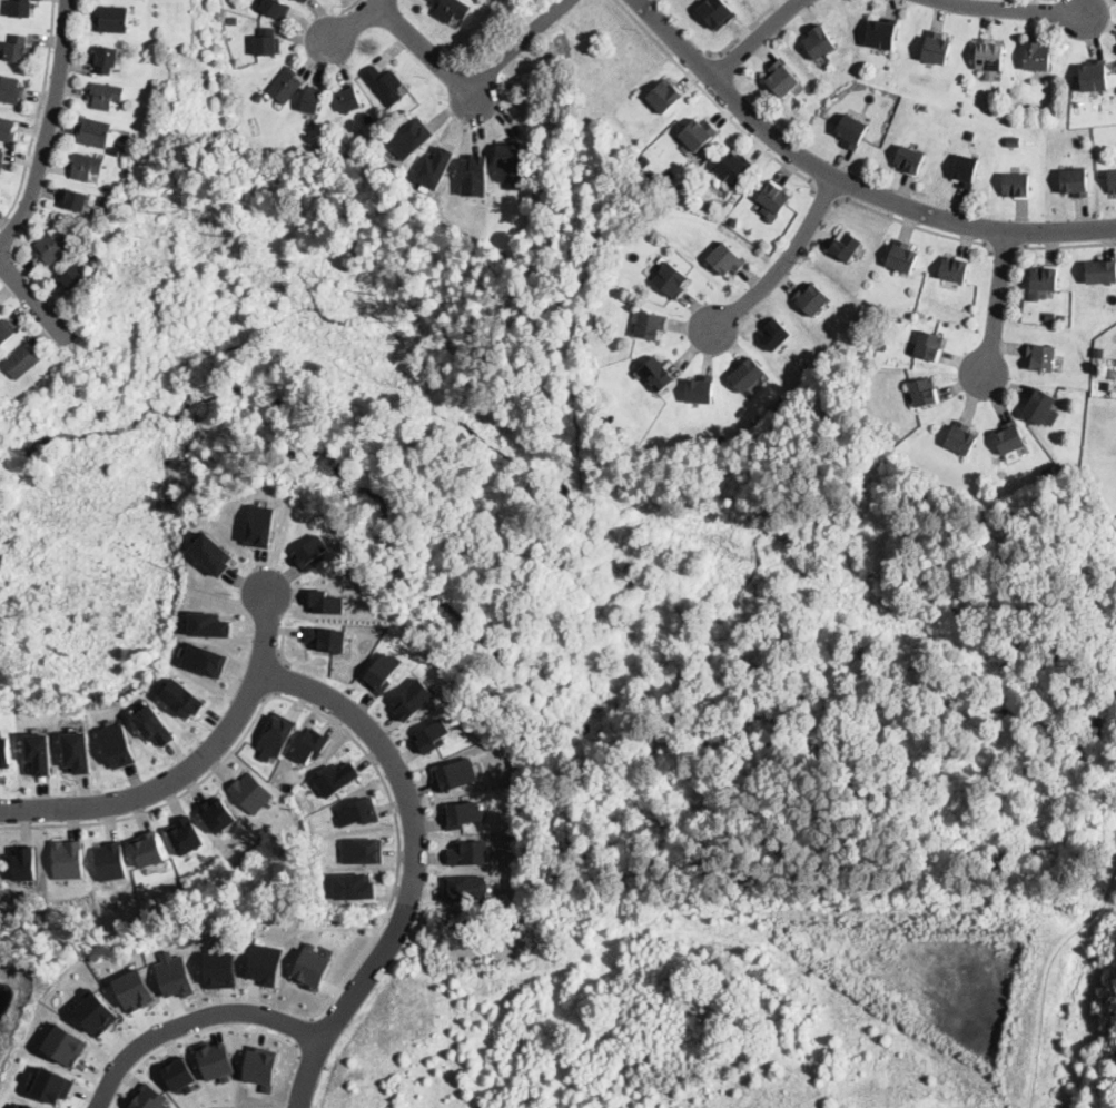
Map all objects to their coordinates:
building: (305, 1)
road: (349, 7)
building: (23, 9)
building: (276, 9)
building: (451, 9)
road: (1010, 11)
building: (715, 12)
building: (112, 19)
road: (359, 22)
road: (744, 31)
building: (881, 33)
road: (678, 39)
road: (758, 39)
building: (819, 42)
building: (268, 43)
road: (520, 43)
road: (423, 47)
building: (936, 48)
building: (18, 49)
building: (989, 55)
building: (1037, 57)
building: (107, 60)
road: (703, 66)
building: (1094, 76)
building: (781, 78)
building: (385, 85)
building: (286, 86)
building: (11, 91)
building: (105, 96)
building: (662, 97)
building: (354, 99)
building: (315, 101)
road: (714, 101)
building: (924, 109)
road: (38, 116)
road: (49, 129)
building: (7, 130)
building: (851, 131)
building: (93, 132)
building: (361, 132)
building: (698, 132)
building: (409, 138)
building: (1014, 140)
building: (116, 152)
building: (910, 160)
building: (644, 161)
building: (510, 162)
building: (2, 164)
building: (435, 165)
building: (86, 166)
building: (734, 167)
building: (132, 170)
building: (965, 171)
building: (474, 174)
building: (1074, 181)
building: (1113, 181)
building: (1016, 185)
road: (828, 195)
building: (76, 200)
building: (105, 200)
building: (772, 200)
road: (897, 205)
building: (734, 222)
road: (915, 226)
road: (9, 235)
building: (89, 235)
building: (845, 245)
road: (1067, 247)
building: (52, 248)
road: (1004, 249)
building: (97, 255)
building: (901, 257)
building: (725, 259)
road: (786, 261)
building: (954, 268)
building: (1100, 271)
building: (73, 277)
road: (34, 279)
building: (671, 280)
building: (1043, 281)
road: (36, 299)
building: (811, 299)
road: (999, 306)
building: (1061, 318)
building: (651, 325)
building: (7, 332)
building: (774, 334)
building: (882, 346)
building: (929, 346)
building: (1041, 357)
building: (21, 362)
building: (656, 374)
building: (747, 375)
building: (701, 387)
building: (924, 392)
building: (782, 402)
building: (1039, 406)
building: (721, 438)
building: (961, 438)
building: (1009, 438)
building: (893, 439)
building: (1047, 472)
building: (260, 524)
building: (313, 551)
building: (213, 553)
building: (325, 601)
building: (209, 624)
building: (326, 636)
road: (280, 649)
building: (205, 659)
building: (382, 671)
road: (280, 679)
building: (182, 698)
building: (413, 698)
road: (313, 709)
building: (154, 724)
building: (433, 734)
building: (275, 736)
building: (119, 744)
building: (310, 745)
building: (4, 750)
building: (78, 751)
building: (39, 752)
road: (191, 765)
building: (457, 773)
building: (337, 776)
building: (251, 791)
building: (356, 811)
building: (217, 812)
building: (466, 812)
building: (185, 833)
building: (149, 847)
building: (362, 849)
building: (471, 851)
building: (68, 858)
building: (110, 860)
building: (26, 861)
road: (417, 864)
building: (355, 884)
building: (467, 888)
building: (266, 963)
building: (219, 967)
building: (312, 967)
building: (175, 973)
building: (134, 988)
building: (95, 1012)
road: (195, 1021)
road: (303, 1031)
road: (195, 1033)
building: (66, 1045)
building: (215, 1059)
building: (260, 1066)
building: (179, 1074)
building: (49, 1084)
building: (148, 1098)
building: (26, 1106)

